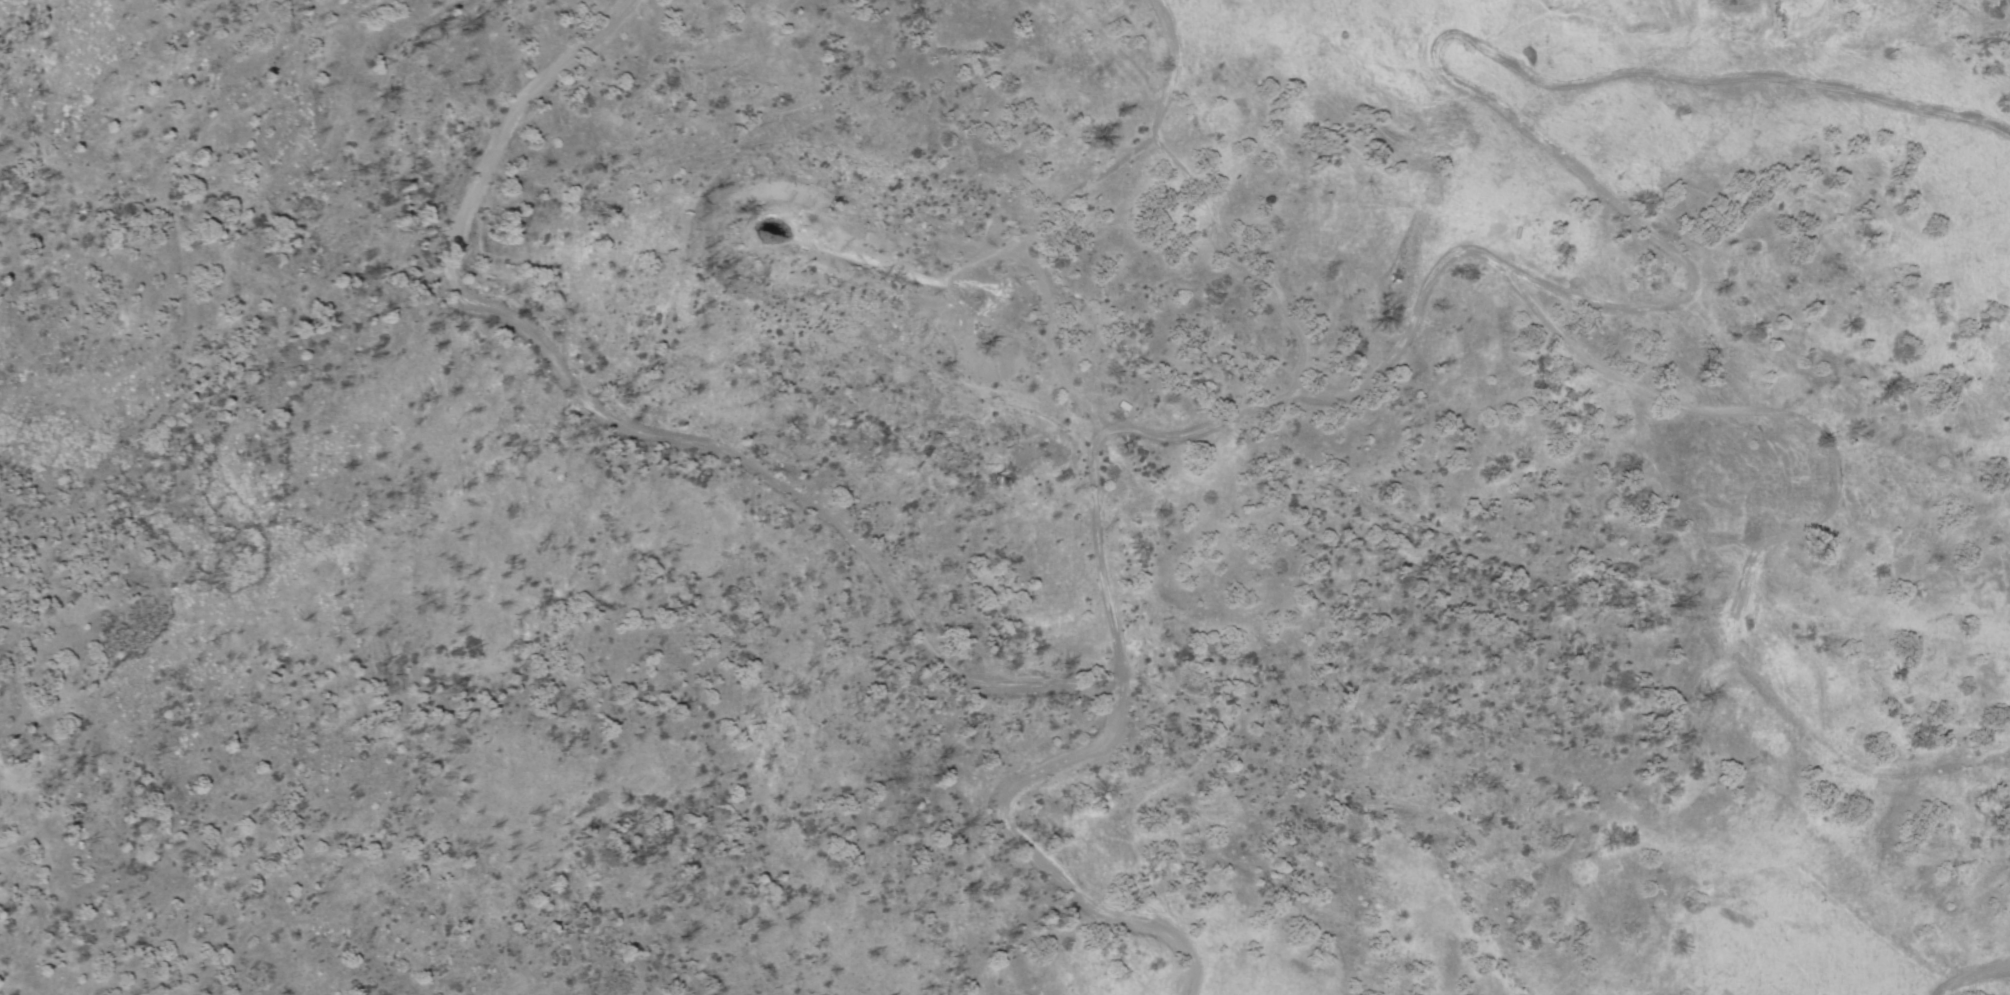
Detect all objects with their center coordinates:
quarry: (860, 176)
road: (1083, 214)
road: (1140, 439)

